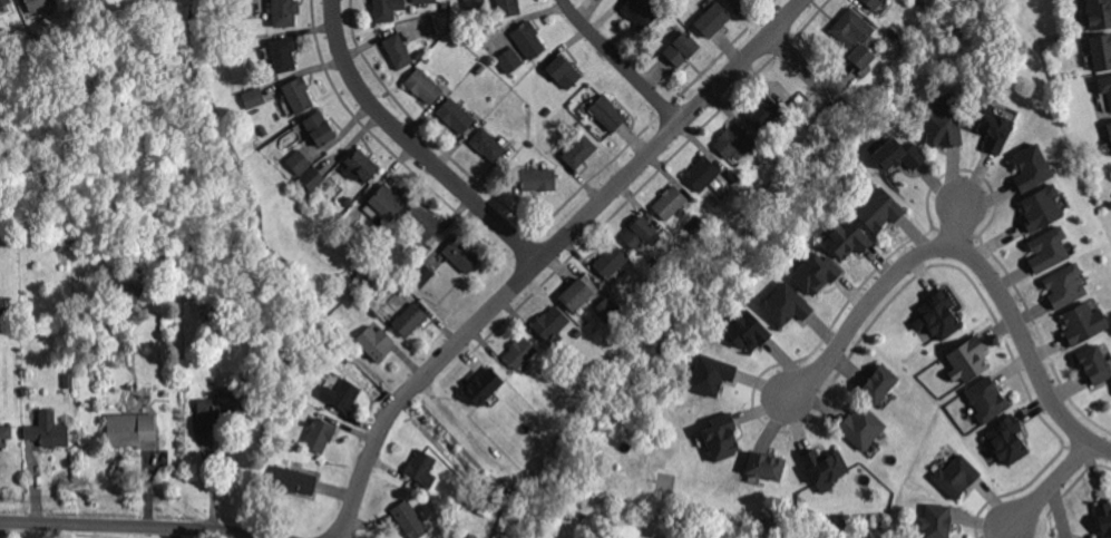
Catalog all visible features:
building: (4, 1)
building: (742, 2)
building: (875, 2)
building: (40, 3)
building: (446, 3)
building: (475, 3)
building: (509, 7)
building: (665, 8)
building: (286, 11)
building: (386, 11)
building: (641, 12)
building: (1098, 14)
building: (713, 18)
building: (426, 25)
building: (681, 26)
building: (849, 27)
building: (894, 30)
building: (874, 33)
building: (529, 38)
building: (682, 47)
building: (399, 49)
building: (284, 52)
building: (1101, 52)
building: (864, 56)
building: (428, 58)
building: (510, 59)
road: (622, 60)
building: (565, 70)
road: (810, 71)
building: (246, 82)
building: (426, 85)
building: (1104, 88)
building: (542, 91)
building: (300, 92)
building: (253, 96)
building: (571, 101)
building: (764, 111)
building: (608, 113)
building: (458, 114)
building: (943, 126)
building: (322, 127)
building: (993, 129)
building: (1109, 129)
building: (266, 130)
building: (734, 140)
building: (529, 141)
road: (416, 143)
building: (489, 144)
building: (581, 149)
building: (896, 154)
building: (301, 160)
building: (360, 167)
building: (1032, 168)
building: (703, 173)
building: (313, 178)
building: (540, 178)
building: (709, 192)
building: (350, 200)
building: (389, 200)
building: (669, 200)
building: (1041, 209)
building: (879, 212)
road: (962, 215)
building: (425, 219)
building: (339, 226)
building: (640, 232)
building: (847, 241)
building: (1049, 251)
building: (462, 253)
road: (548, 253)
building: (376, 254)
building: (65, 256)
building: (612, 260)
building: (652, 261)
building: (815, 273)
building: (421, 275)
building: (386, 282)
building: (128, 283)
building: (1065, 286)
building: (577, 293)
building: (786, 306)
building: (607, 309)
building: (941, 316)
building: (411, 319)
building: (552, 322)
building: (594, 323)
building: (1083, 324)
building: (744, 332)
building: (377, 342)
building: (522, 352)
building: (968, 361)
building: (1095, 365)
building: (709, 376)
building: (878, 384)
building: (483, 385)
building: (344, 393)
building: (986, 401)
building: (225, 404)
building: (130, 428)
building: (863, 428)
building: (48, 429)
building: (6, 433)
building: (320, 434)
building: (722, 438)
building: (1007, 441)
building: (419, 463)
building: (766, 467)
building: (825, 467)
building: (270, 469)
building: (956, 477)
building: (294, 480)
road: (1053, 480)
building: (485, 507)
building: (410, 519)
building: (1103, 519)
building: (880, 521)
building: (936, 521)
road: (137, 526)
road: (1, 529)
road: (175, 532)
building: (456, 536)
building: (1094, 537)

